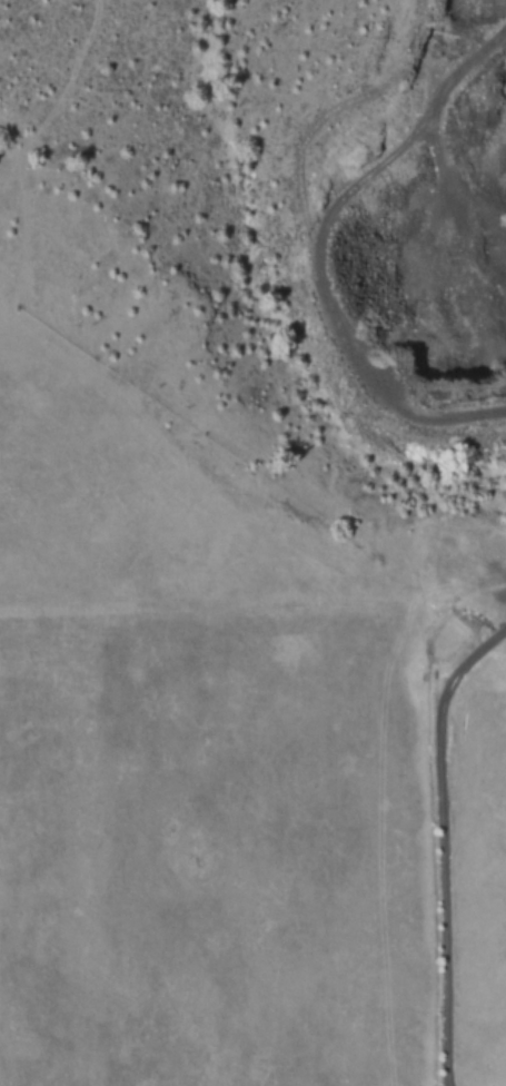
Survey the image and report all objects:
quarry: (406, 217)
quarry: (490, 629)
crop: (225, 744)
road: (439, 841)

